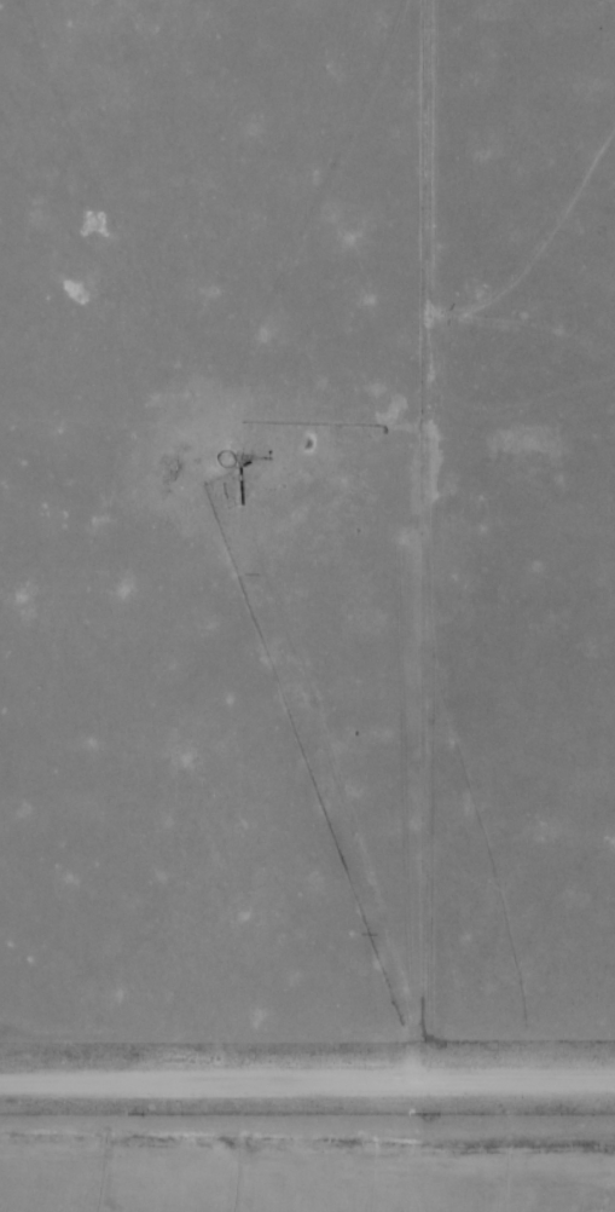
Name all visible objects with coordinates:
road: (307, 1091)

